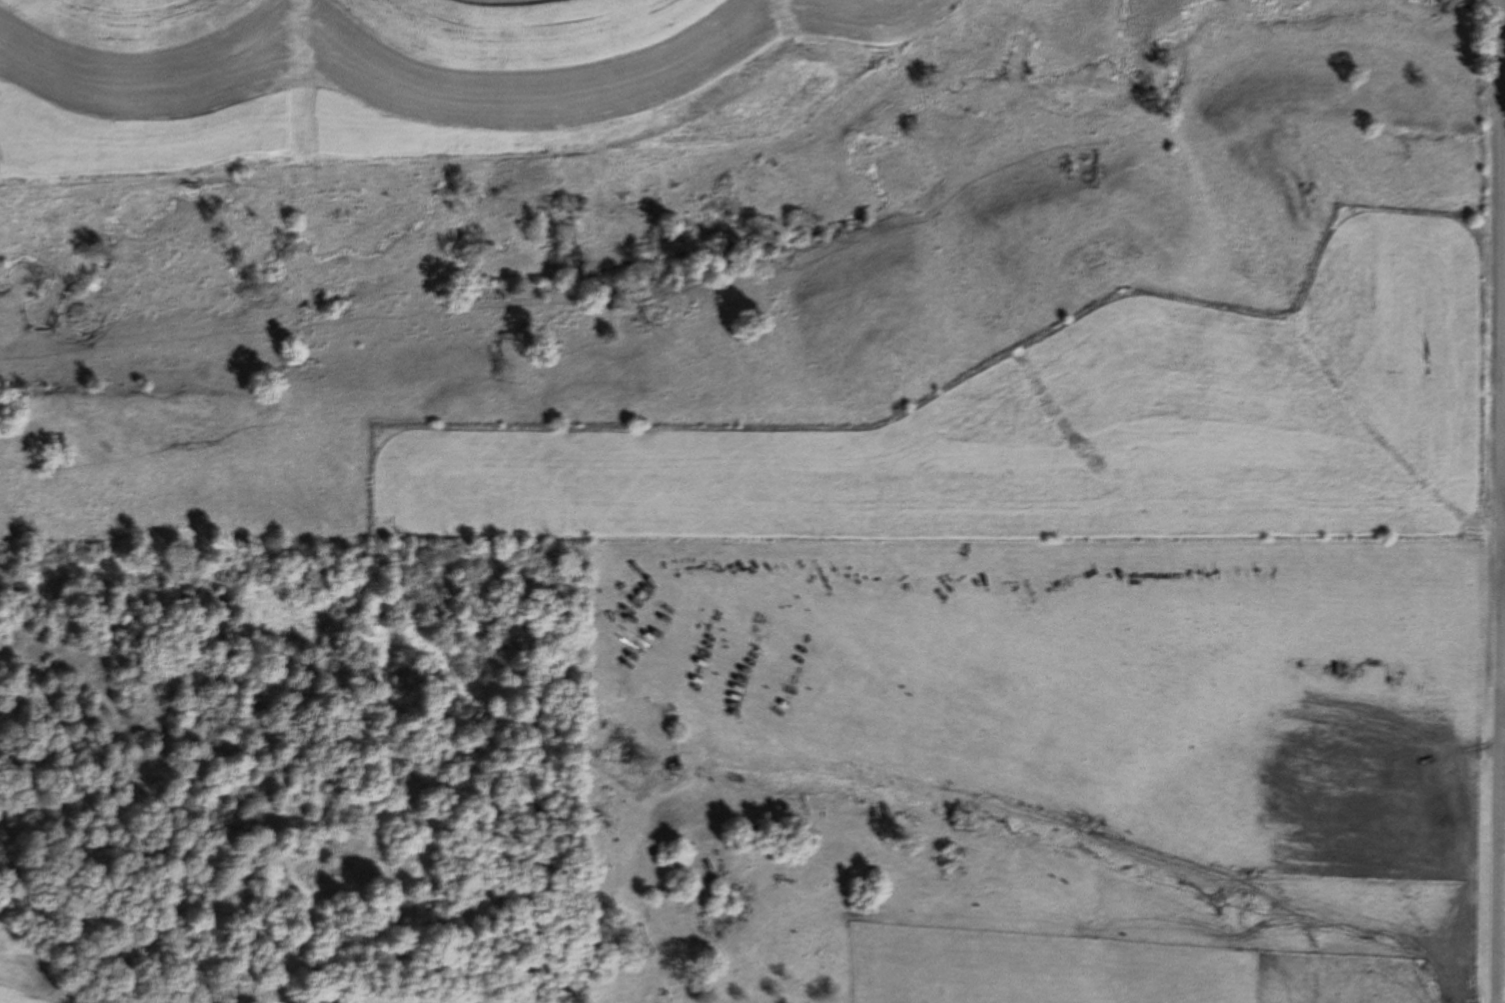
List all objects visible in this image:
road: (1498, 501)
road: (1501, 520)

